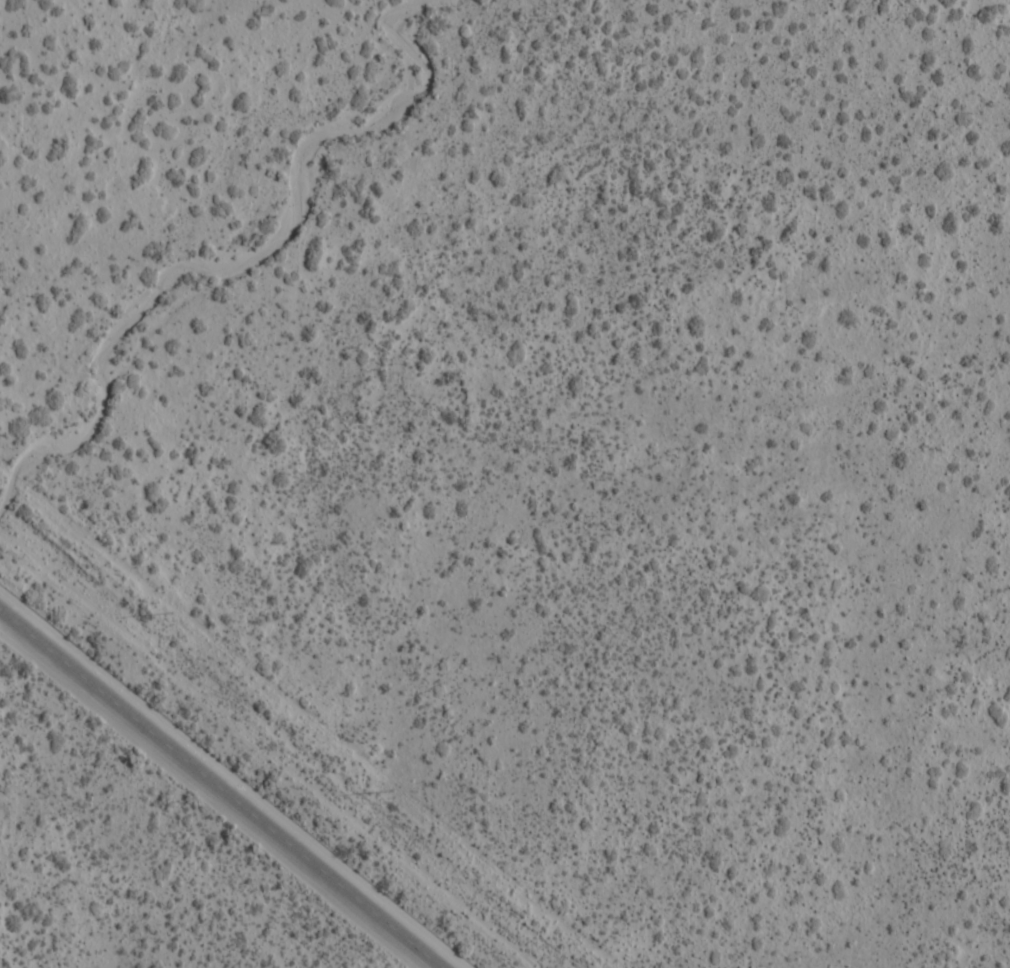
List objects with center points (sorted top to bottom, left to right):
road: (222, 788)

